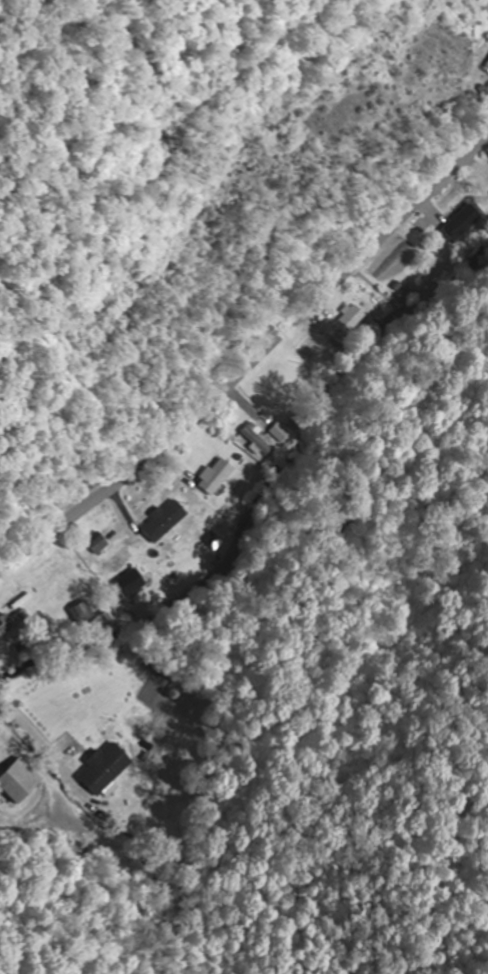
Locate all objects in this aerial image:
building: (464, 223)
building: (406, 295)
building: (351, 319)
road: (252, 366)
building: (283, 433)
building: (258, 440)
building: (219, 477)
building: (167, 522)
building: (217, 542)
building: (101, 543)
building: (135, 584)
building: (83, 613)
building: (13, 623)
building: (108, 769)
building: (22, 782)

